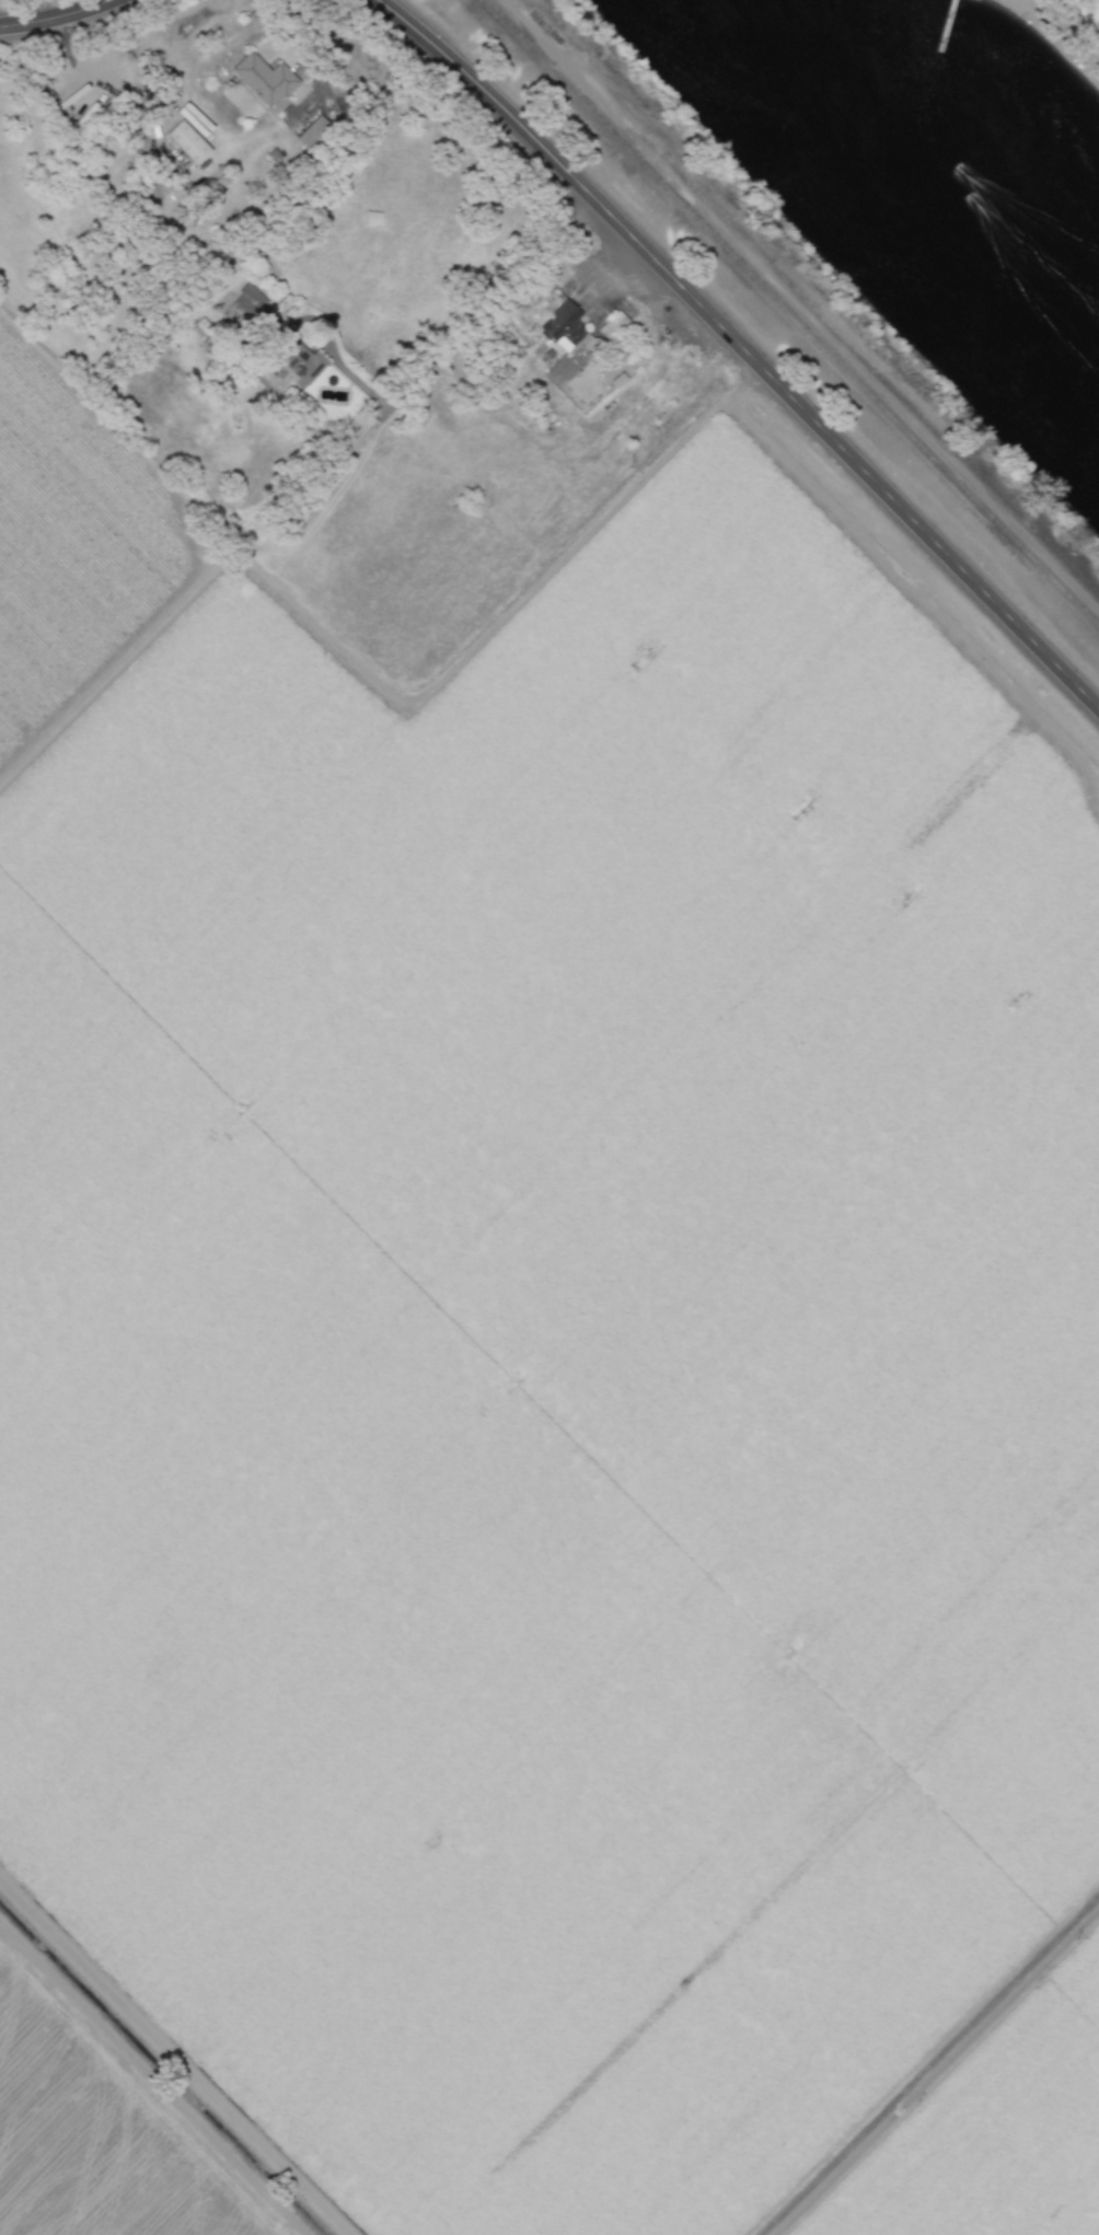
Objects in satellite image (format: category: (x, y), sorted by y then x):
road: (57, 18)
road: (314, 65)
building: (263, 78)
building: (312, 132)
building: (186, 142)
river: (937, 161)
building: (243, 306)
building: (527, 308)
railway: (787, 314)
building: (611, 325)
building: (563, 326)
road: (466, 331)
road: (741, 350)
building: (294, 363)
crop: (551, 1355)
road: (933, 2069)
road: (154, 2077)

